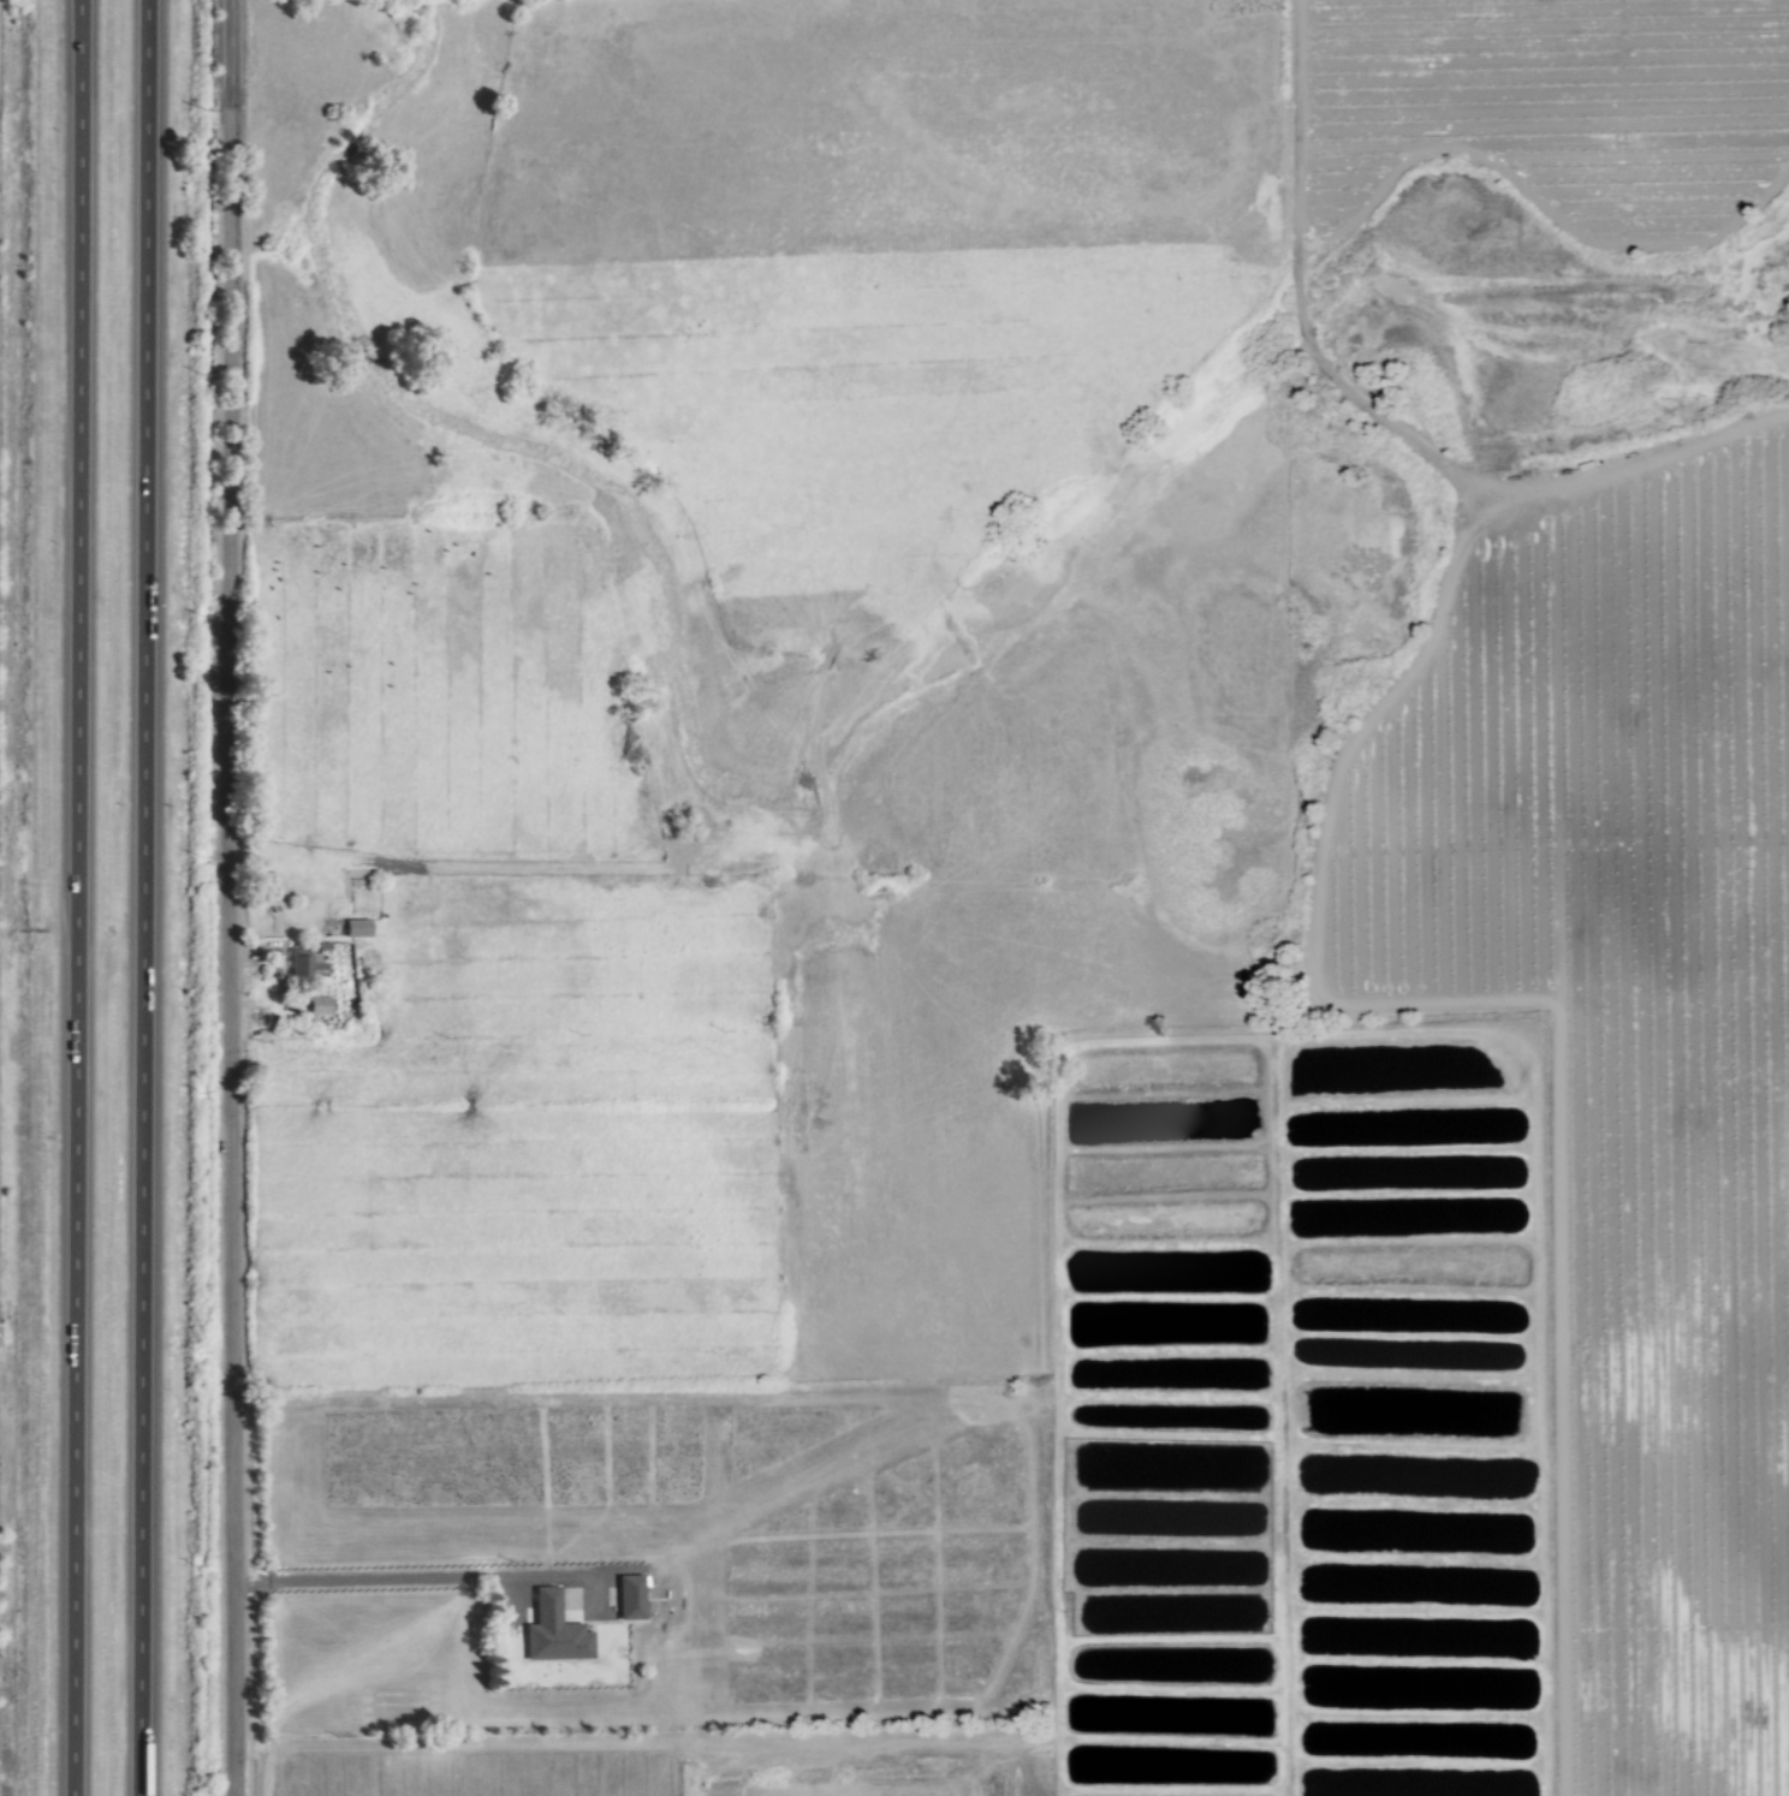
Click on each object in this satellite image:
road: (78, 64)
road: (237, 897)
road: (154, 898)
building: (355, 927)
road: (79, 962)
building: (302, 965)
building: (317, 1005)
road: (409, 1578)
building: (628, 1595)
building: (546, 1629)

